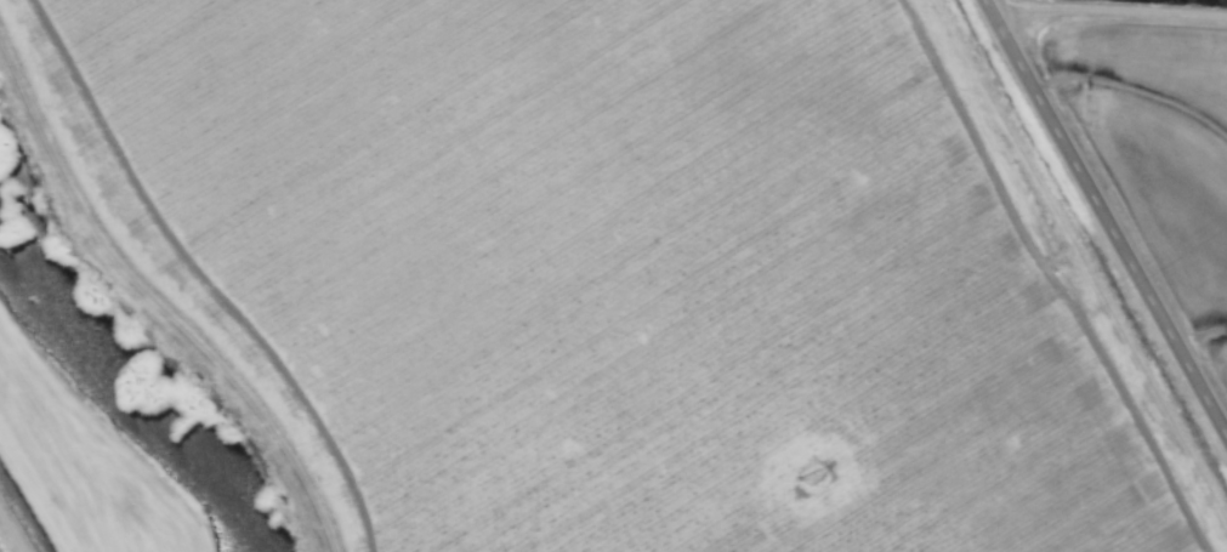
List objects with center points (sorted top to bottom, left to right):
road: (1114, 10)
road: (1109, 211)
crop: (613, 275)
power tower: (822, 484)

